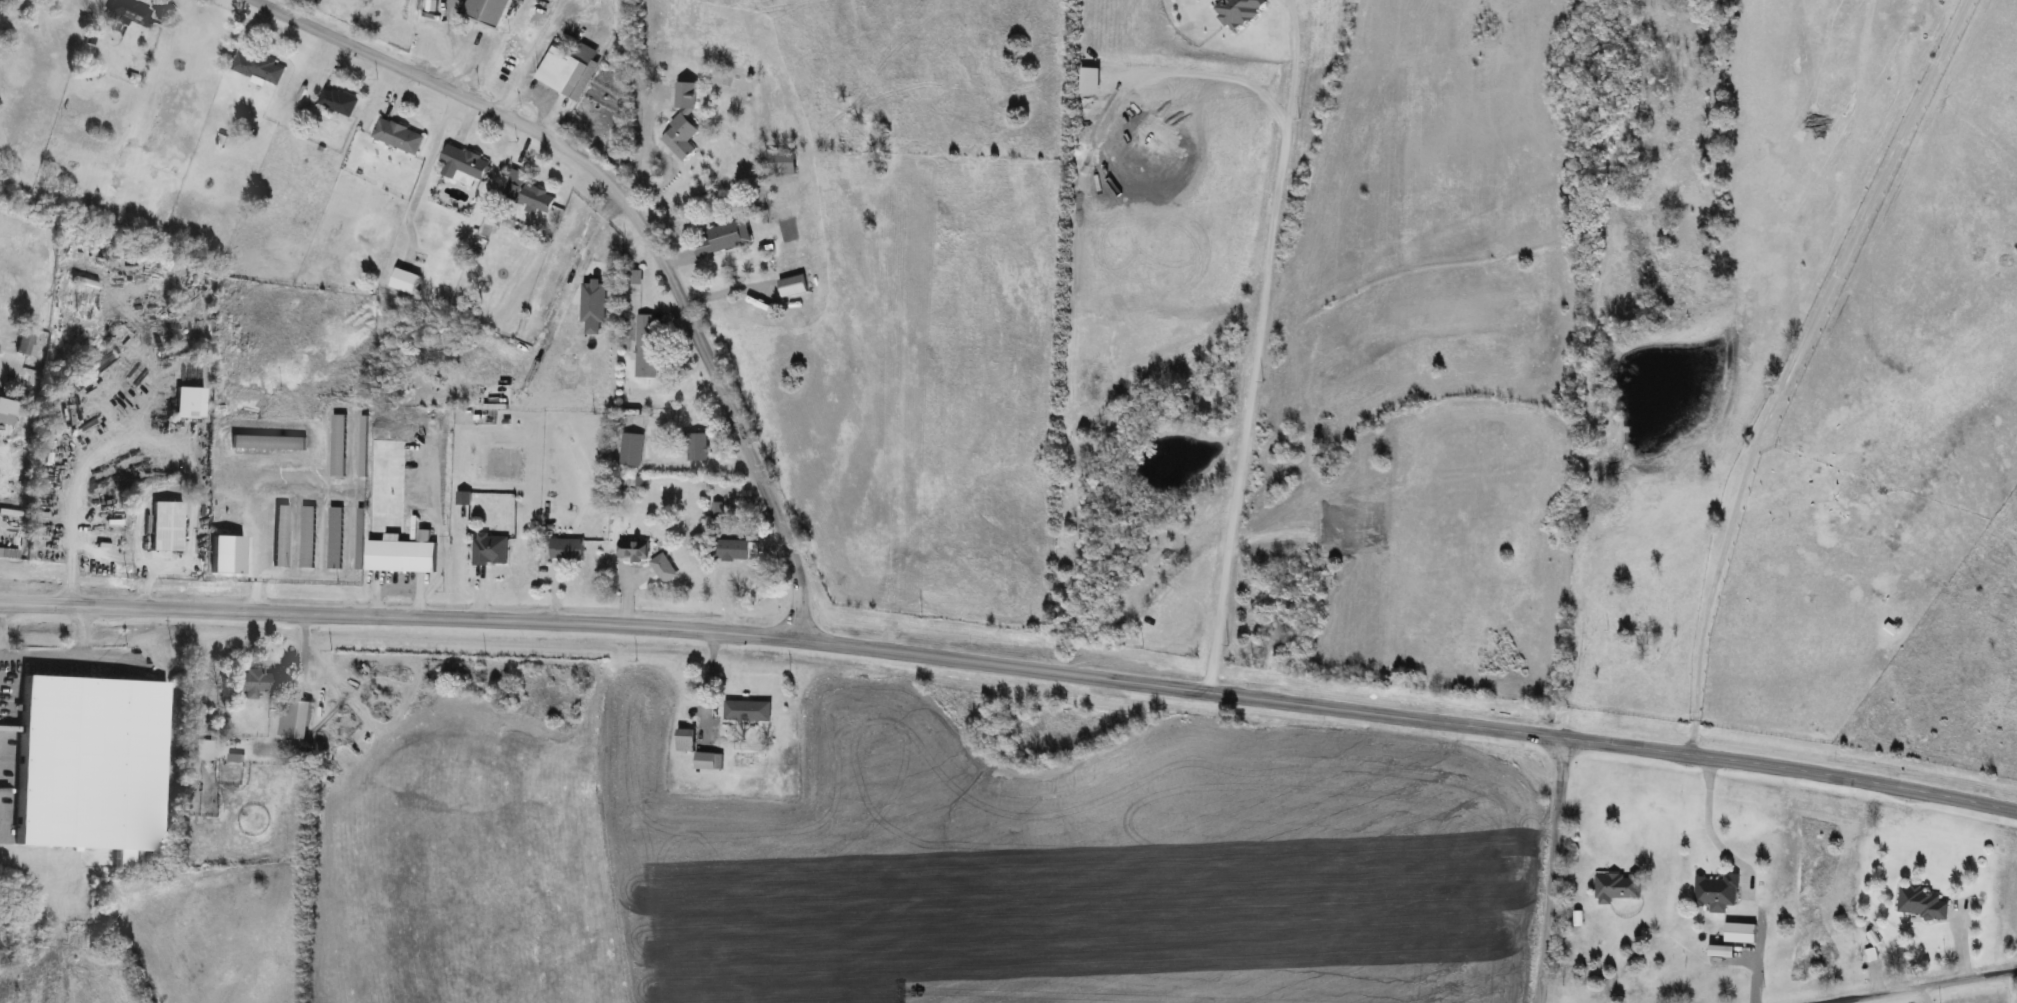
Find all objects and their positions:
building: (127, 11)
building: (487, 11)
road: (450, 53)
building: (258, 68)
building: (566, 72)
building: (338, 100)
building: (682, 122)
building: (397, 135)
road: (644, 147)
building: (779, 162)
building: (463, 163)
building: (531, 197)
road: (638, 221)
building: (729, 234)
road: (588, 249)
building: (404, 280)
road: (719, 293)
building: (24, 340)
building: (645, 345)
road: (1249, 361)
road: (1789, 364)
building: (187, 402)
building: (6, 410)
building: (266, 441)
building: (338, 444)
building: (362, 444)
building: (696, 445)
building: (631, 448)
road: (697, 467)
road: (77, 472)
building: (463, 496)
building: (164, 525)
building: (278, 534)
building: (307, 535)
building: (334, 536)
building: (490, 548)
building: (566, 548)
building: (632, 548)
building: (736, 549)
building: (400, 553)
road: (128, 554)
building: (660, 564)
road: (301, 647)
road: (64, 653)
road: (1012, 666)
building: (251, 681)
road: (709, 684)
building: (747, 710)
building: (294, 717)
building: (685, 739)
building: (201, 749)
building: (708, 761)
building: (92, 763)
road: (1551, 871)
road: (1746, 875)
building: (1616, 886)
building: (1716, 890)
building: (1921, 902)
building: (1741, 932)
road: (1917, 985)
road: (2010, 986)
road: (1932, 993)
road: (1861, 999)

